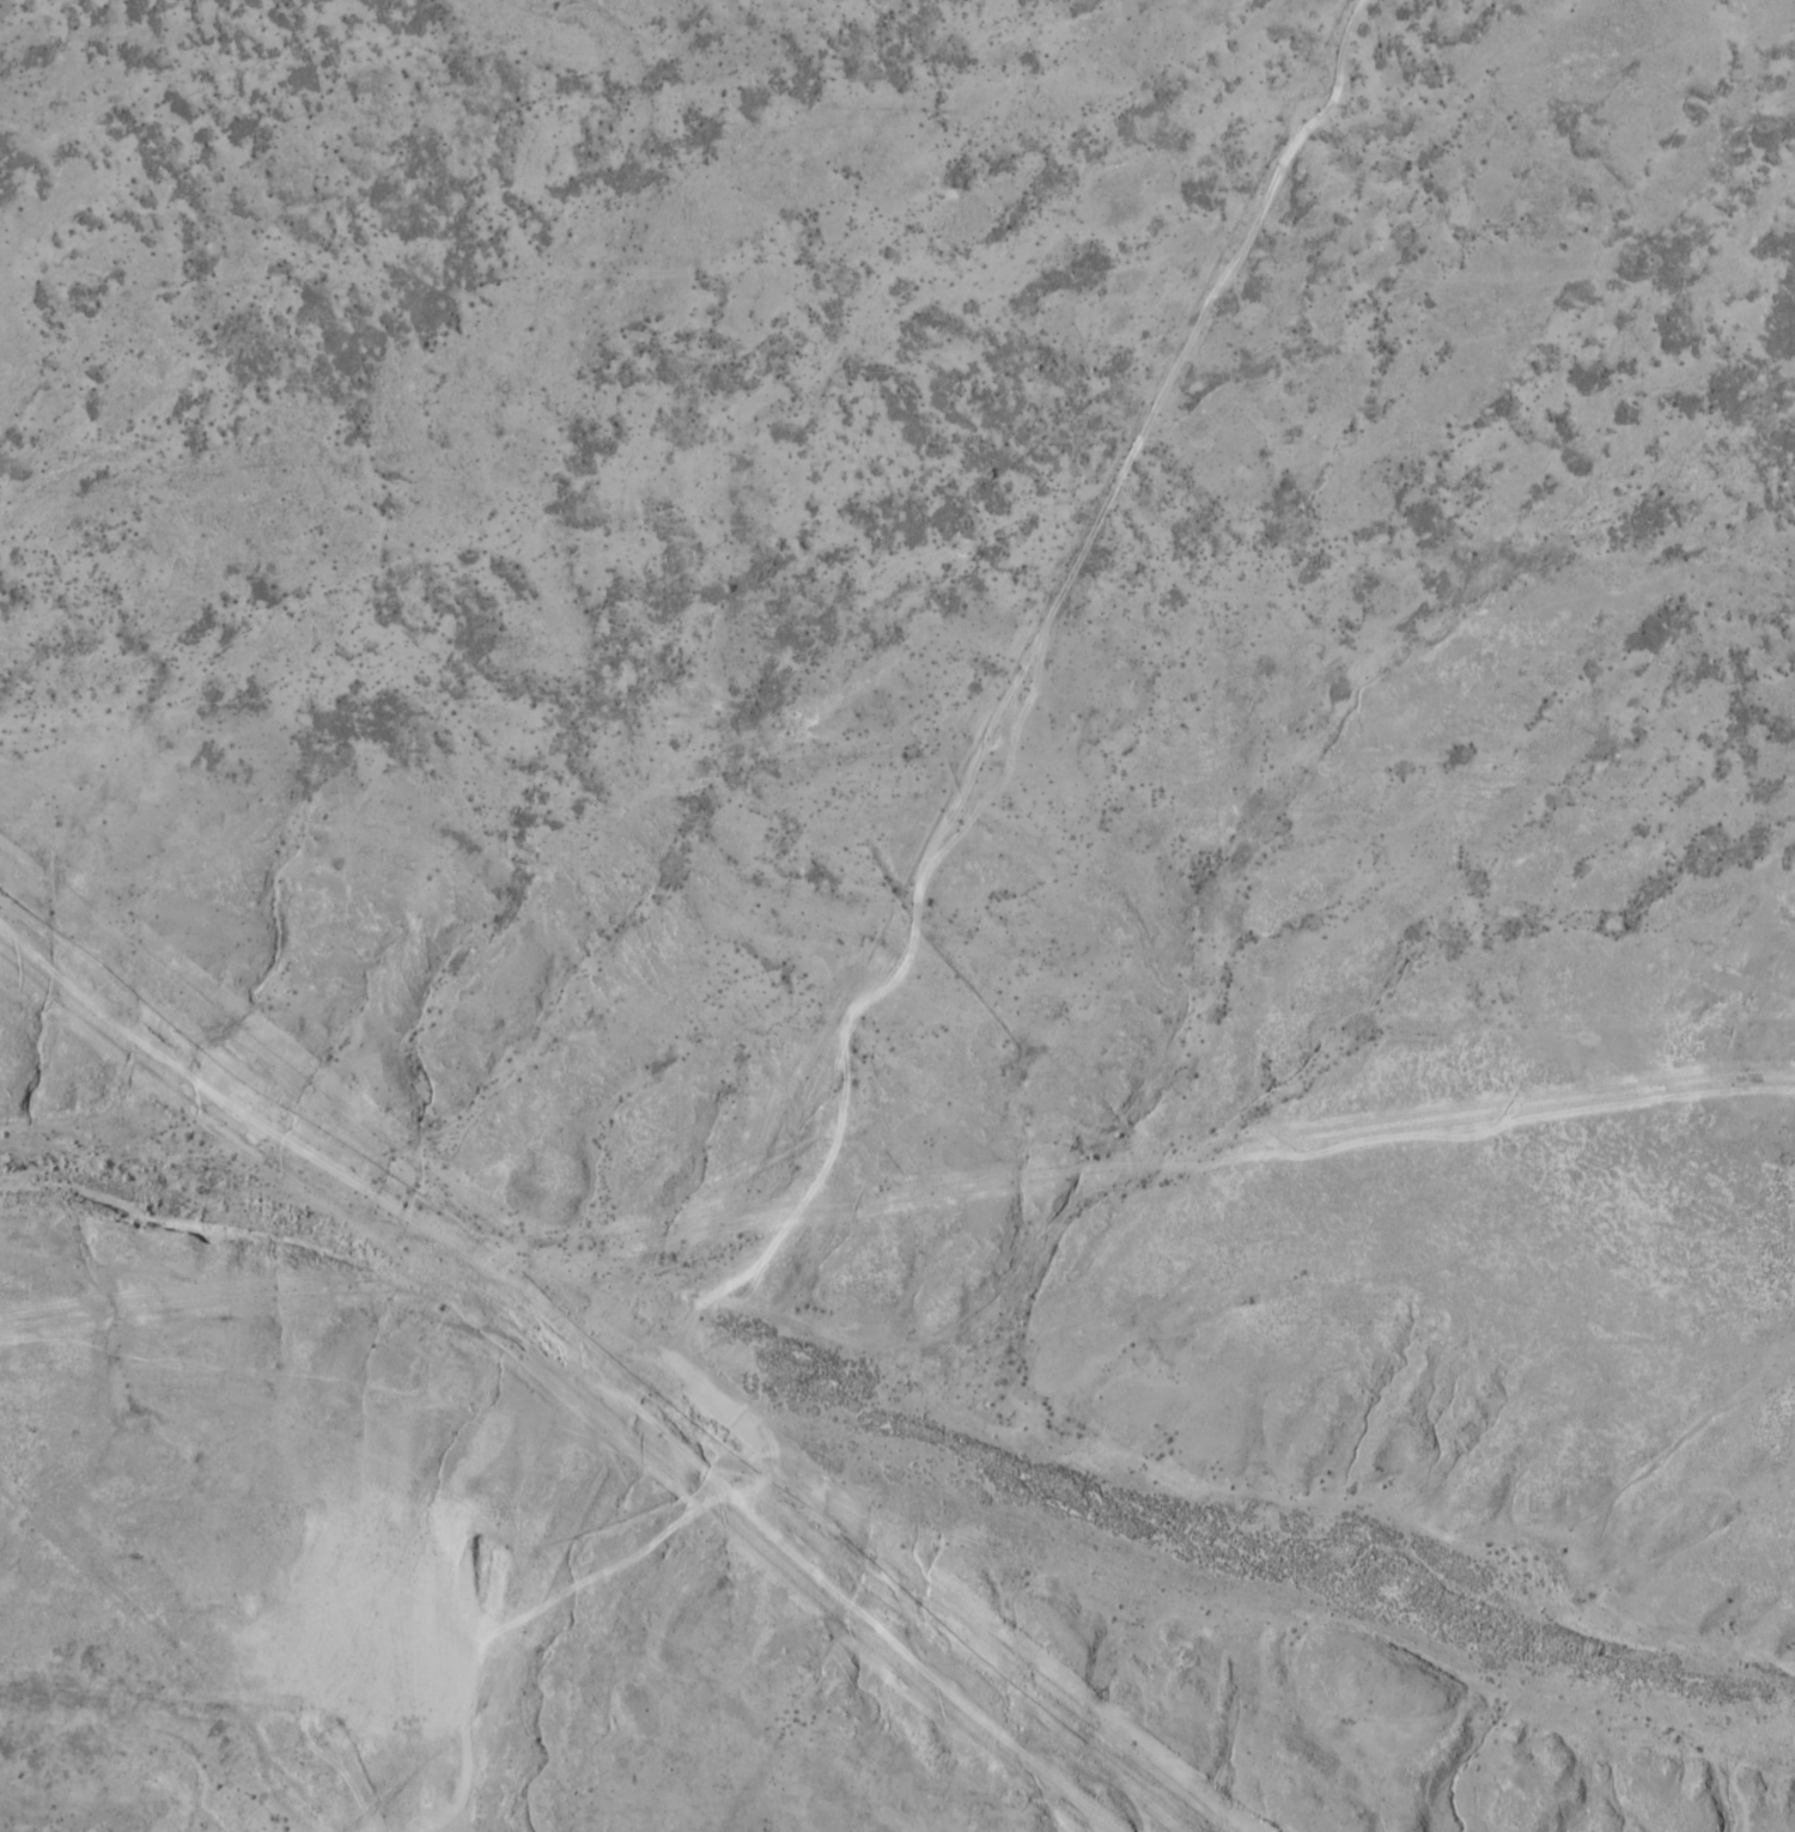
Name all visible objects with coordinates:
road: (1017, 677)
road: (414, 1831)

